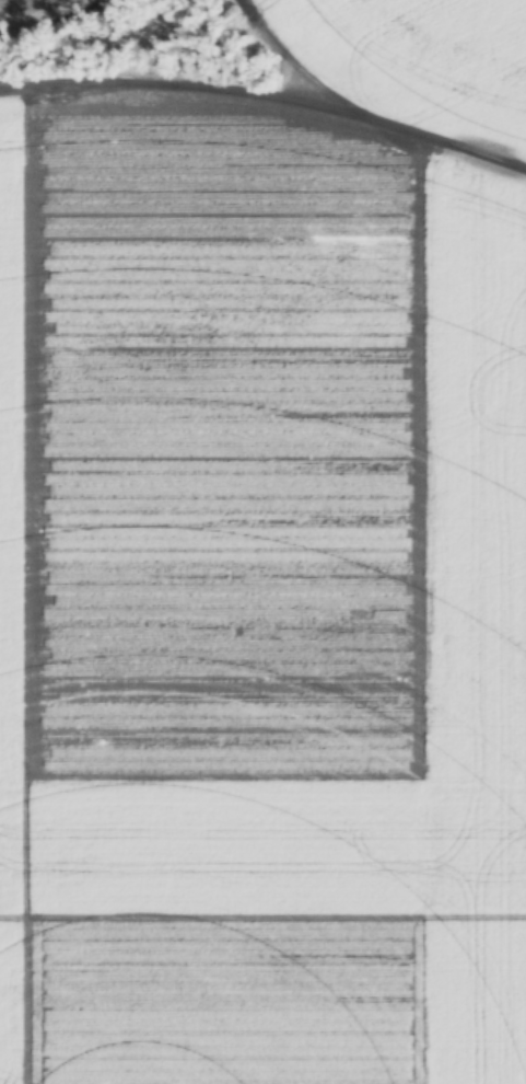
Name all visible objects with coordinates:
crop: (259, 608)

